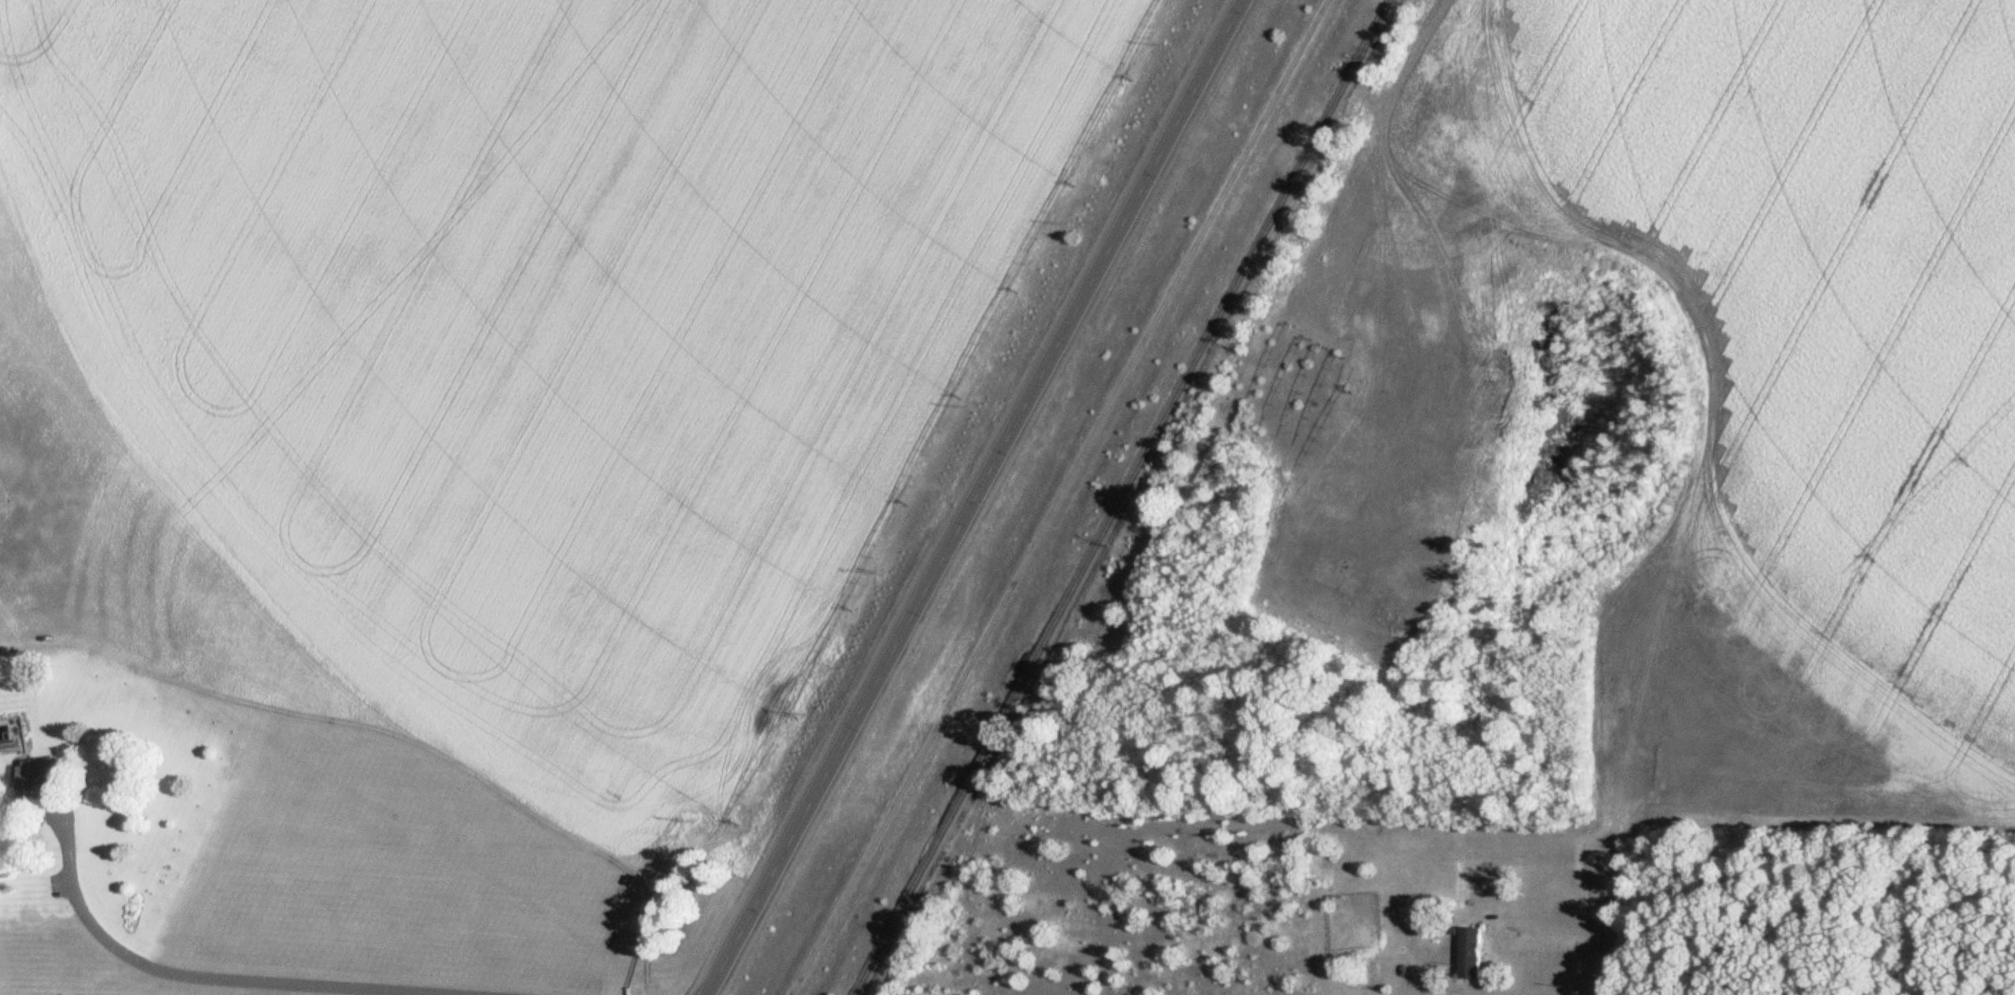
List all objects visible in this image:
road: (1357, 168)
road: (972, 497)
road: (1055, 497)
railway: (1120, 497)
building: (8, 747)
building: (36, 781)
road: (1598, 915)
building: (1467, 953)
road: (186, 975)
road: (1432, 993)

